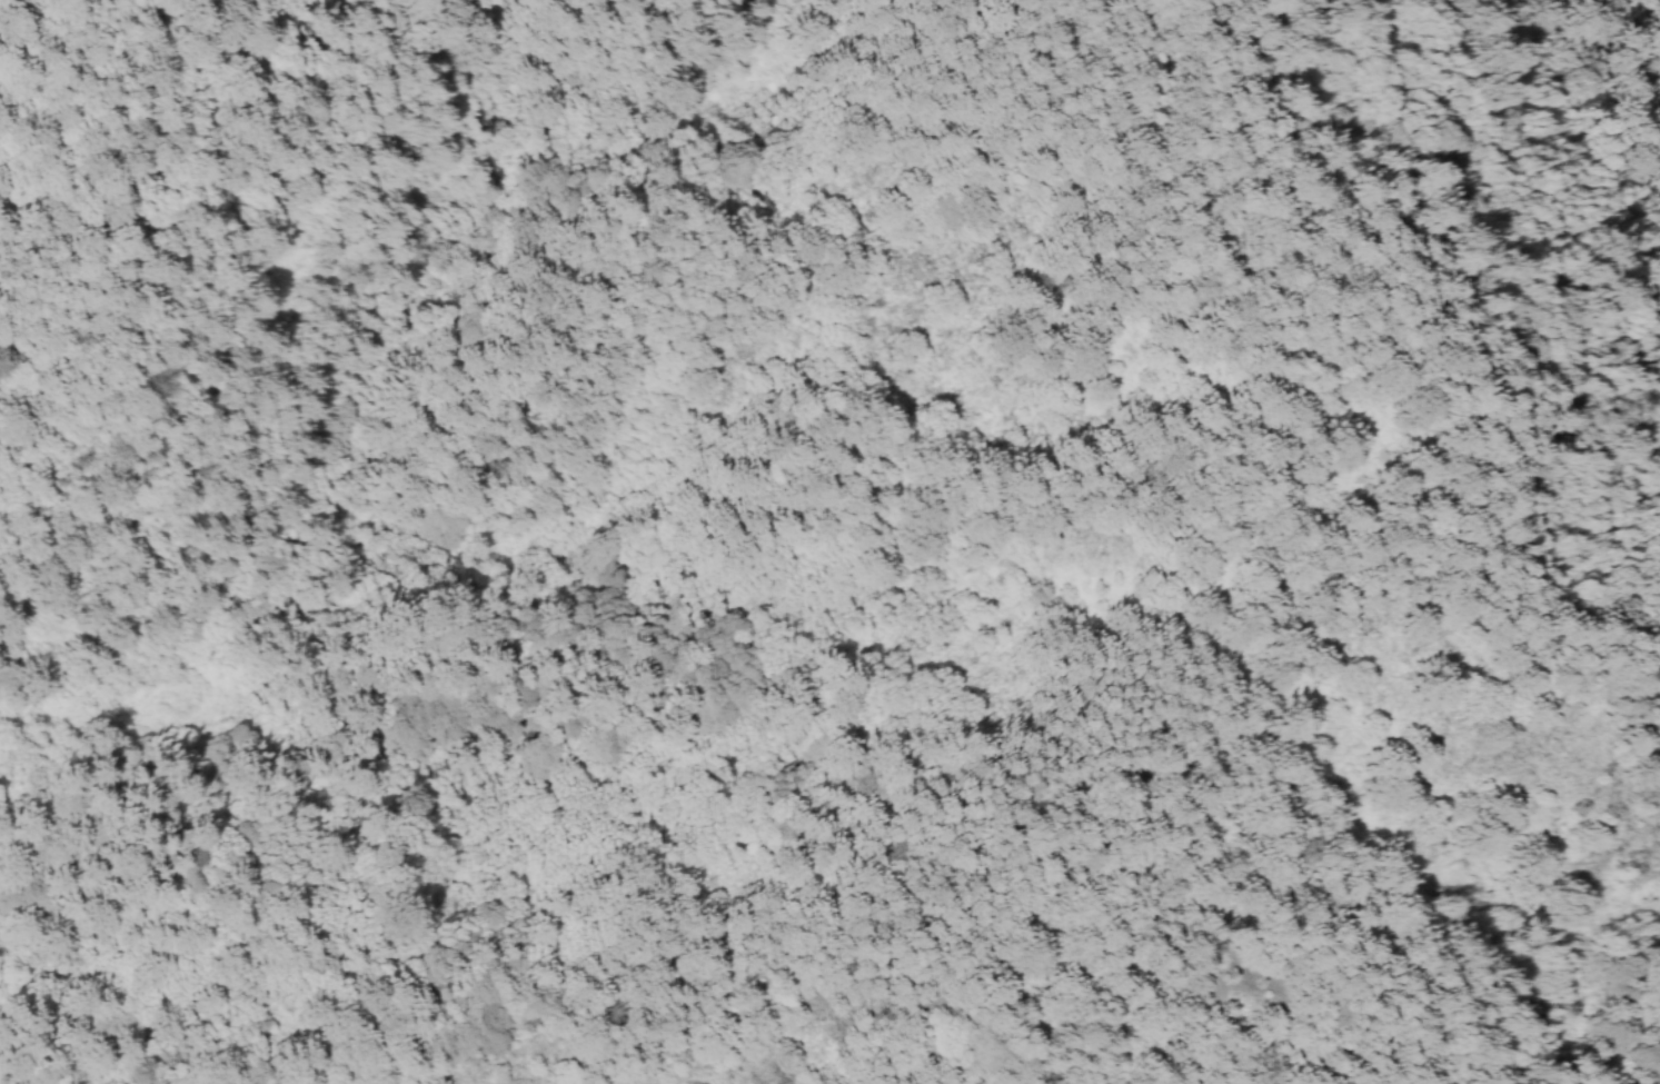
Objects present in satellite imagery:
road: (1278, 538)

